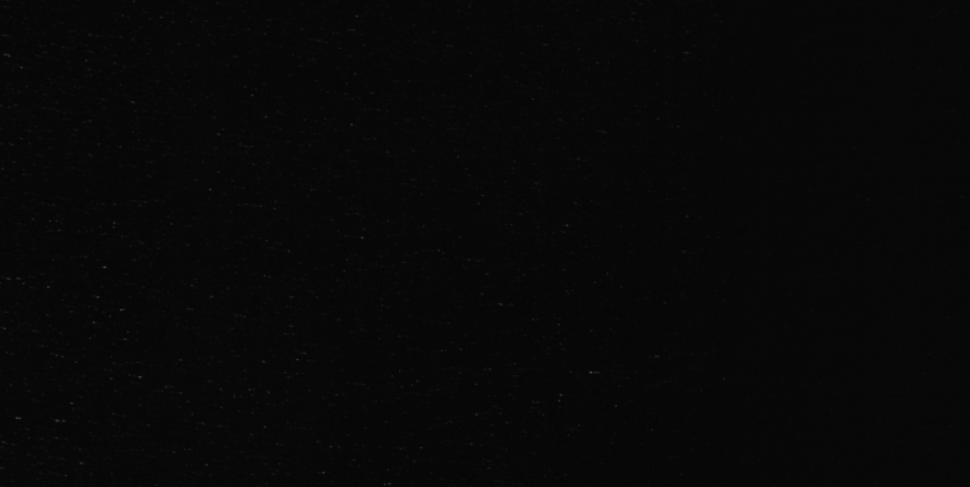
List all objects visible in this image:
river: (745, 243)

